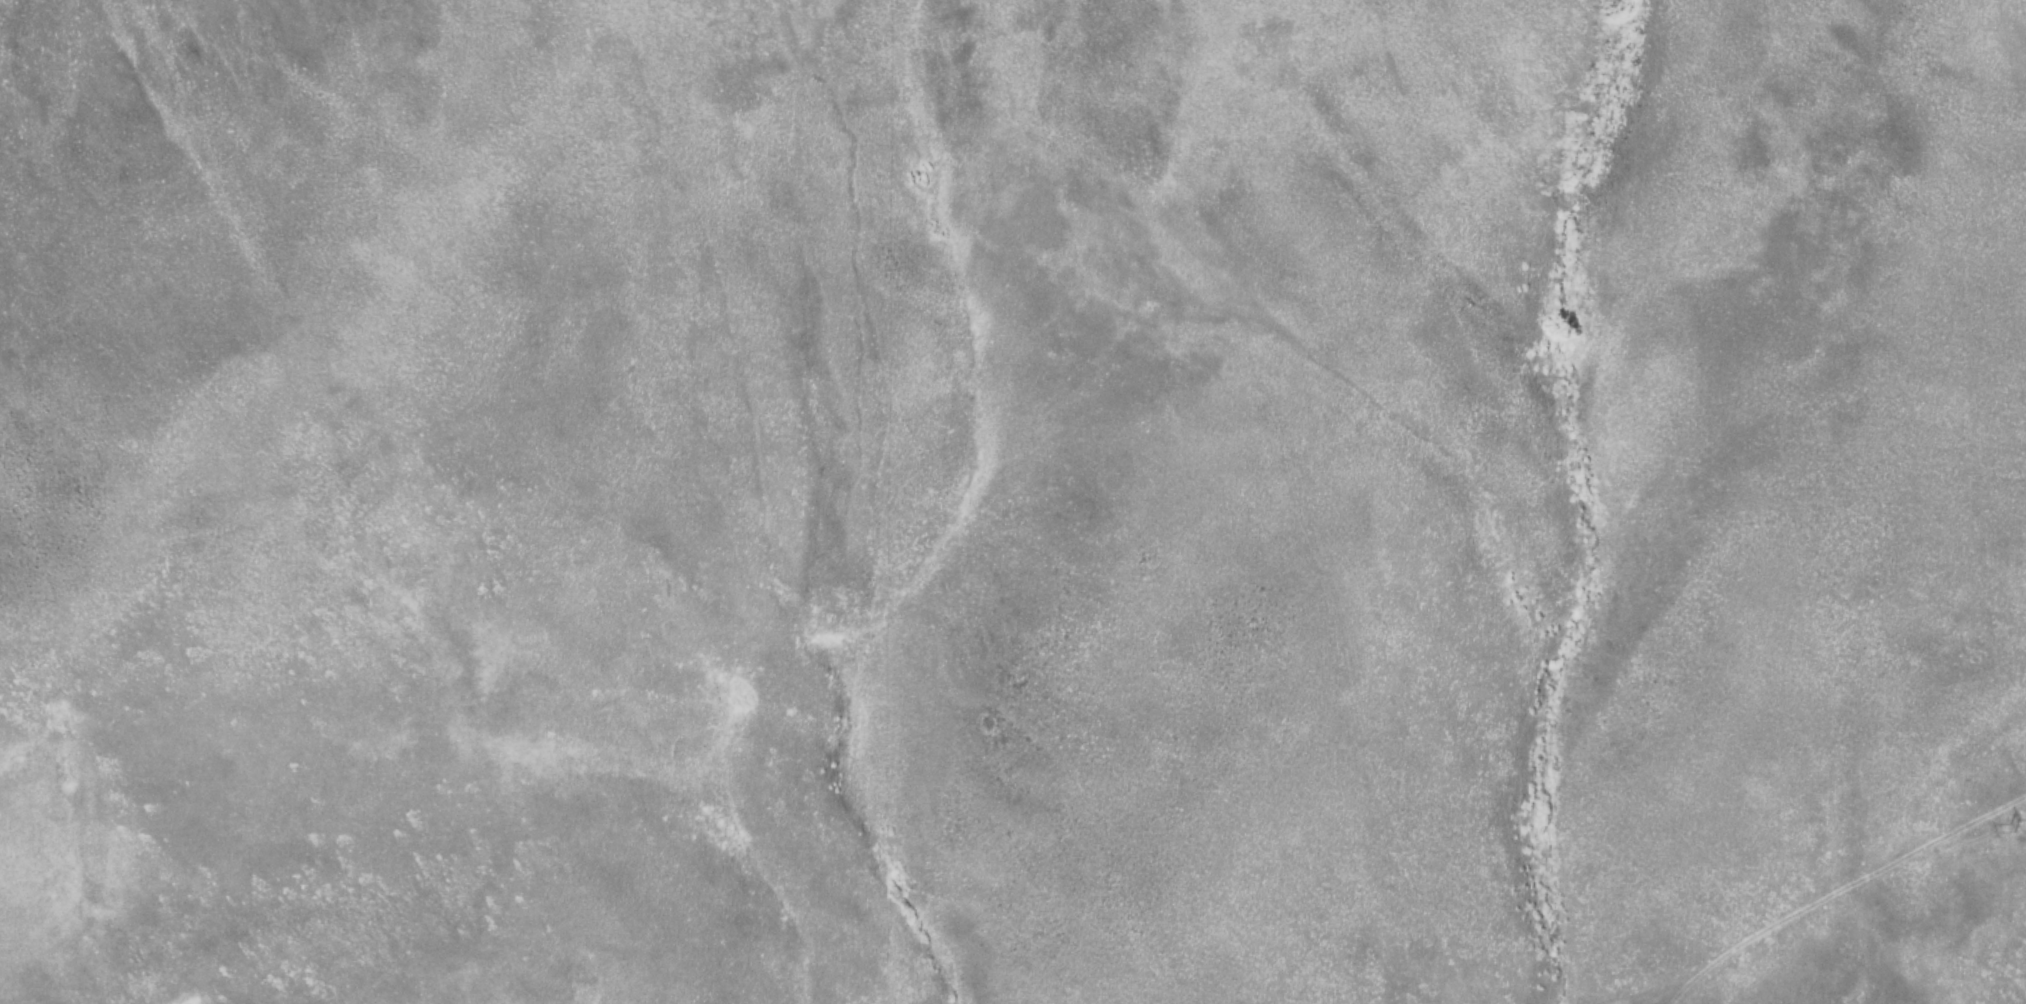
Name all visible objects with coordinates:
power tower: (2009, 829)
road: (1839, 888)

